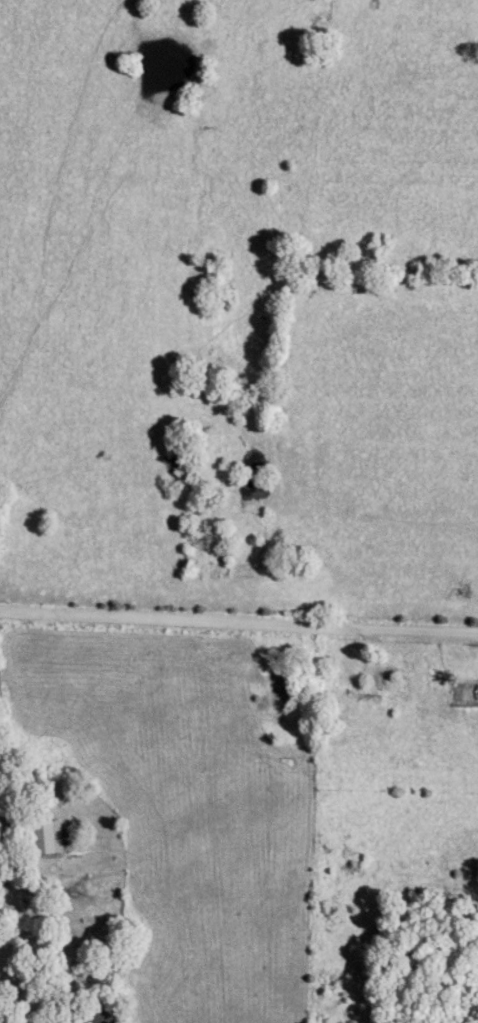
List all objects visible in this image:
road: (238, 628)
building: (40, 840)
building: (95, 1017)

